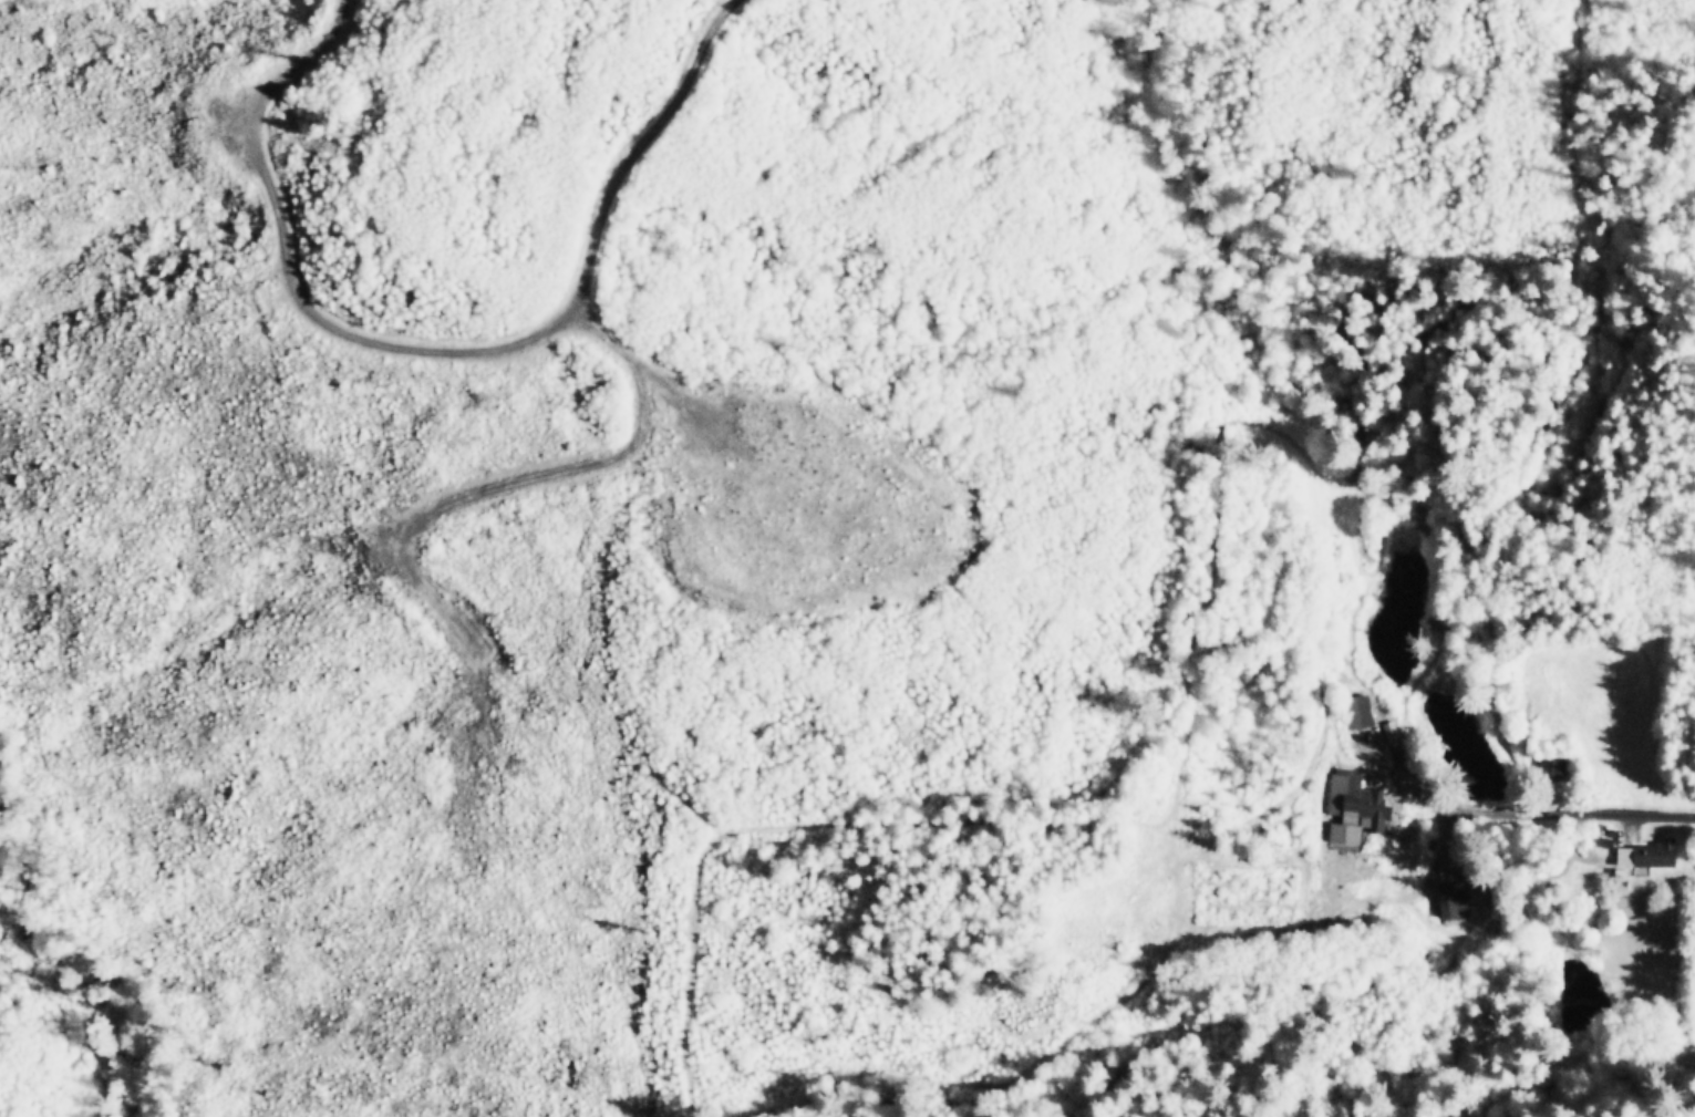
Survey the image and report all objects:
road: (485, 347)
building: (1363, 714)
building: (1556, 768)
building: (1361, 811)
road: (1569, 814)
building: (1654, 857)
building: (1455, 907)

